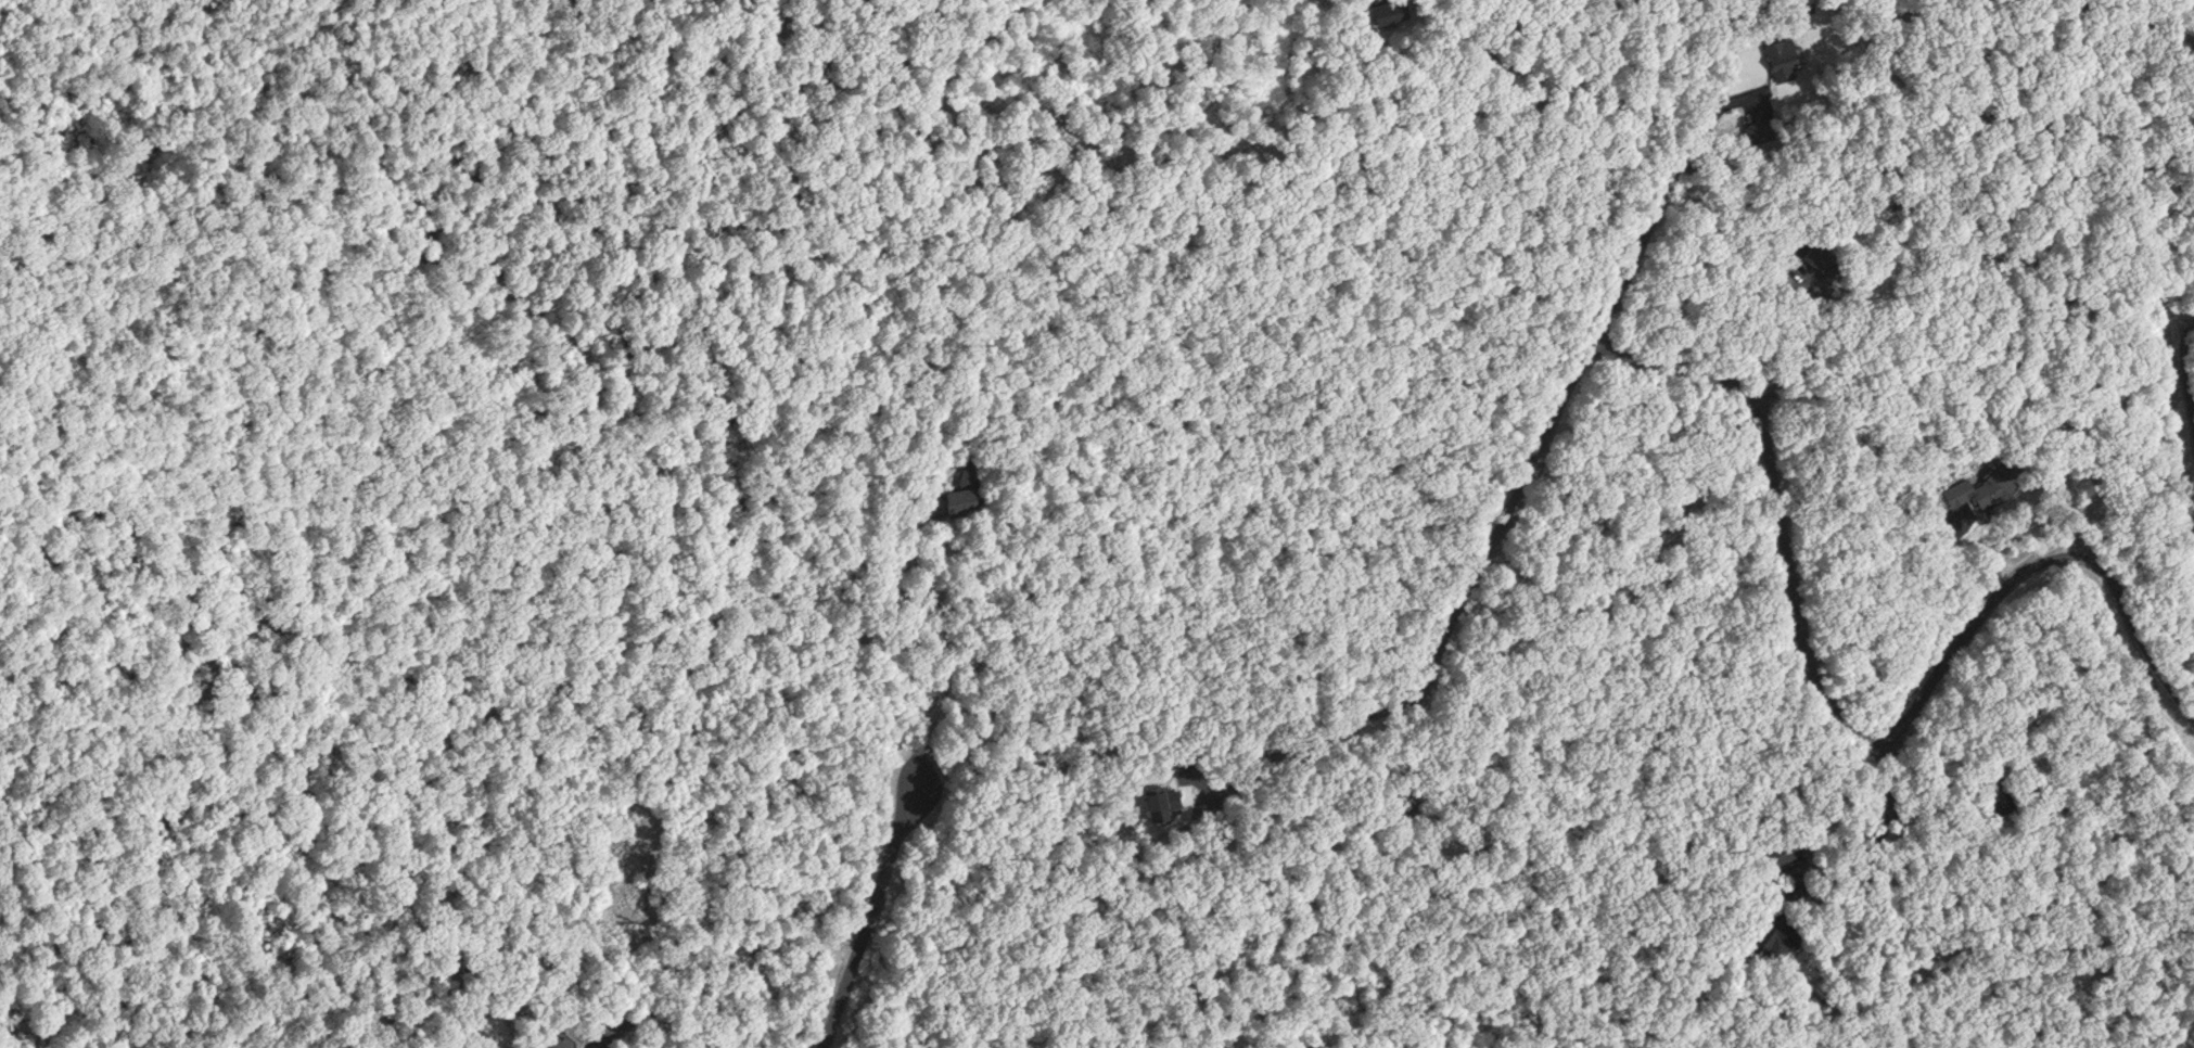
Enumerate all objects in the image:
building: (1784, 49)
road: (1544, 77)
road: (1715, 112)
building: (1817, 251)
road: (1625, 261)
road: (1819, 350)
road: (2190, 399)
building: (2001, 471)
building: (1959, 489)
building: (960, 496)
road: (1510, 497)
road: (1936, 578)
road: (947, 635)
road: (1840, 714)
road: (1331, 736)
building: (2002, 793)
road: (1876, 833)
building: (1785, 845)
road: (869, 915)
building: (1785, 931)
building: (552, 1039)

